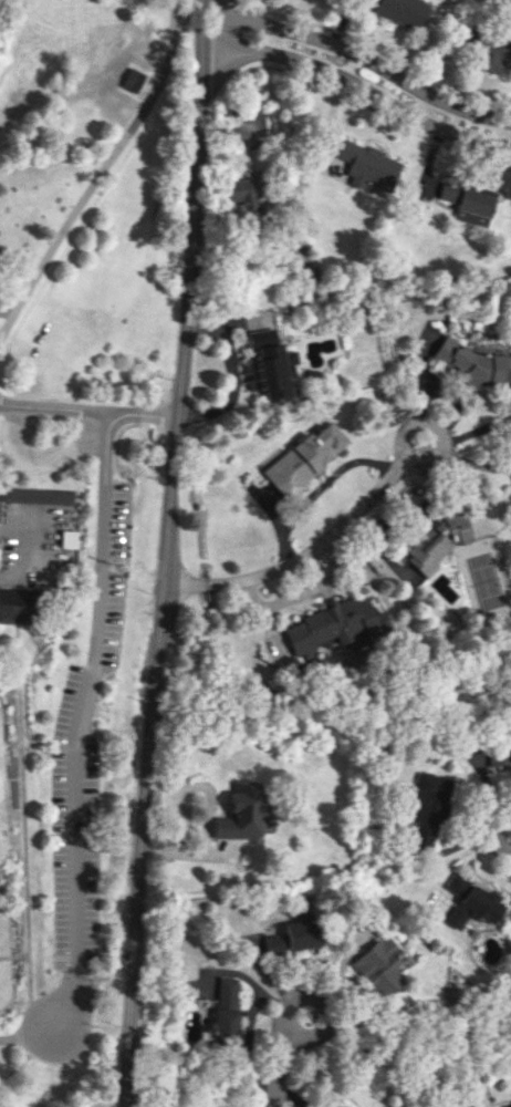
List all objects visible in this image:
building: (399, 10)
road: (361, 51)
building: (490, 51)
road: (359, 86)
building: (368, 166)
road: (101, 174)
building: (244, 198)
building: (467, 201)
road: (7, 311)
building: (473, 362)
building: (269, 363)
road: (230, 370)
road: (52, 407)
road: (142, 412)
road: (440, 433)
road: (49, 454)
building: (304, 457)
building: (35, 494)
building: (508, 496)
park: (76, 501)
building: (66, 538)
building: (435, 542)
road: (164, 553)
road: (302, 559)
building: (17, 606)
building: (332, 624)
road: (81, 705)
building: (509, 748)
building: (427, 808)
building: (242, 811)
road: (496, 829)
parking lot: (75, 848)
building: (472, 902)
building: (294, 937)
building: (379, 965)
road: (30, 1006)
building: (227, 1008)
road: (324, 1026)
road: (12, 1037)
road: (279, 1067)
building: (467, 1105)

